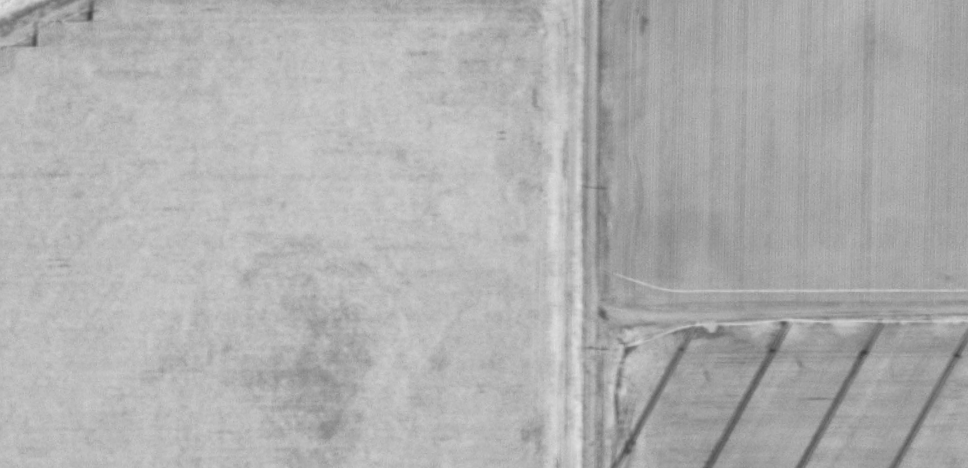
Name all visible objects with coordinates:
road: (590, 233)
road: (778, 312)

